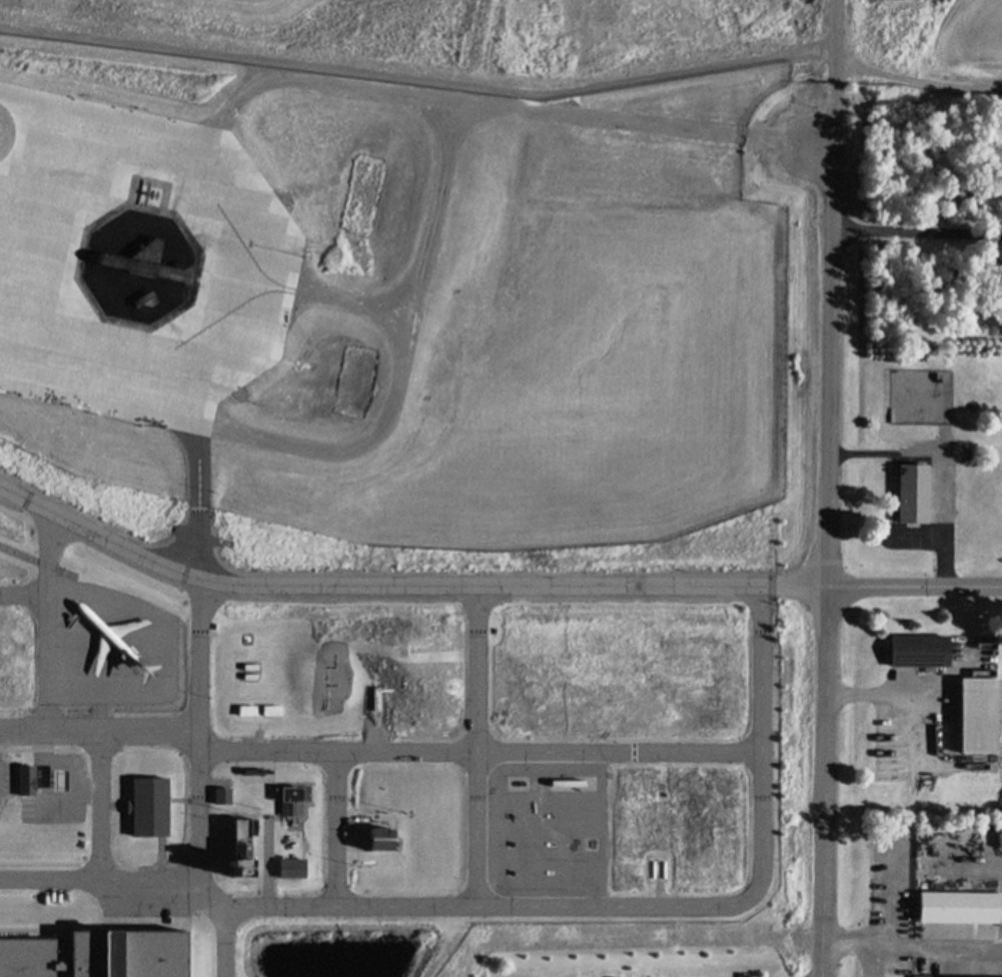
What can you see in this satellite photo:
airport: (545, 39)
road: (837, 40)
road: (419, 79)
road: (917, 81)
road: (500, 105)
road: (834, 120)
road: (15, 194)
road: (262, 215)
road: (917, 231)
building: (392, 298)
road: (337, 300)
road: (3, 322)
road: (405, 359)
building: (914, 498)
road: (828, 556)
railway: (38, 560)
road: (376, 584)
road: (802, 584)
road: (914, 584)
road: (24, 596)
road: (48, 619)
building: (115, 640)
building: (918, 653)
building: (980, 679)
road: (201, 691)
road: (101, 710)
building: (248, 713)
building: (273, 714)
building: (979, 721)
road: (100, 729)
road: (478, 744)
road: (481, 750)
building: (26, 778)
building: (58, 778)
gas station: (58, 778)
building: (267, 780)
building: (221, 784)
building: (224, 795)
road: (184, 798)
building: (211, 798)
building: (296, 799)
road: (101, 803)
road: (114, 804)
building: (149, 805)
building: (63, 822)
road: (337, 828)
building: (381, 839)
building: (241, 847)
road: (163, 855)
road: (972, 864)
building: (293, 868)
road: (100, 877)
road: (892, 889)
road: (148, 903)
road: (628, 904)
building: (960, 911)
road: (226, 939)
road: (857, 943)
road: (946, 944)
building: (95, 954)
road: (890, 960)
building: (926, 976)

